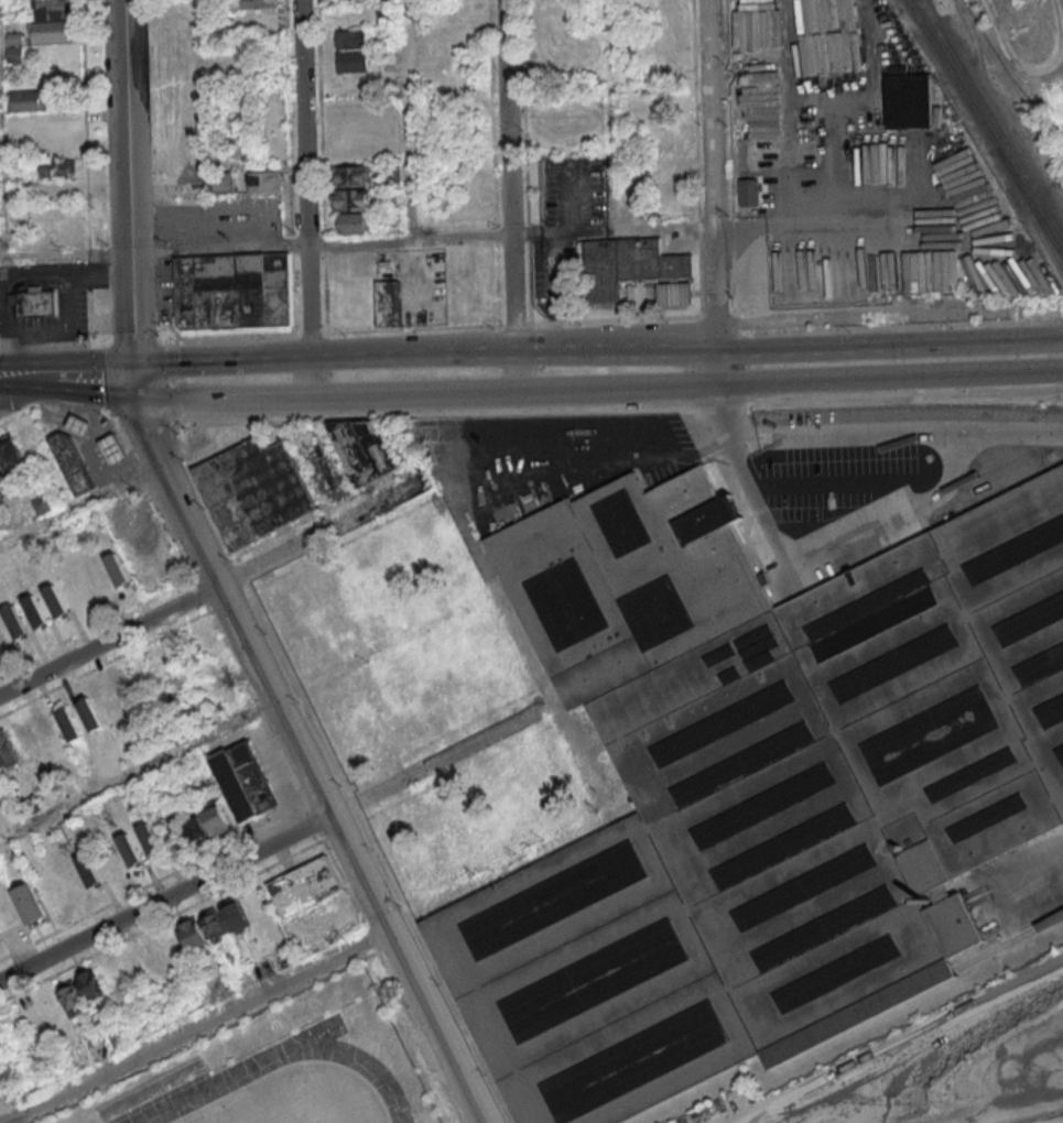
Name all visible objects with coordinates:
building: (257, 3)
building: (50, 31)
building: (349, 41)
building: (12, 54)
building: (350, 63)
road: (606, 94)
road: (202, 95)
building: (908, 98)
building: (25, 100)
railway: (991, 117)
road: (401, 120)
railway: (984, 127)
building: (56, 167)
building: (351, 175)
road: (507, 175)
road: (303, 178)
road: (126, 179)
building: (264, 181)
building: (224, 182)
road: (707, 194)
building: (350, 199)
building: (674, 207)
railway: (1029, 211)
road: (779, 221)
building: (354, 222)
road: (0, 226)
road: (408, 239)
road: (217, 247)
road: (63, 253)
building: (626, 266)
building: (237, 290)
building: (674, 295)
building: (35, 302)
building: (365, 302)
road: (887, 341)
road: (598, 350)
road: (377, 357)
road: (257, 358)
road: (187, 359)
traffic signals: (131, 360)
road: (76, 370)
road: (512, 372)
road: (310, 377)
road: (134, 379)
road: (11, 380)
road: (11, 386)
road: (753, 386)
road: (80, 389)
road: (377, 396)
traffic signals: (139, 399)
road: (224, 401)
road: (530, 412)
building: (82, 424)
road: (897, 440)
building: (116, 448)
building: (362, 449)
building: (12, 455)
building: (74, 462)
building: (253, 491)
building: (41, 504)
road: (80, 505)
road: (803, 567)
building: (117, 569)
road: (205, 586)
building: (55, 600)
building: (34, 611)
building: (18, 621)
building: (129, 689)
building: (170, 693)
building: (89, 712)
building: (68, 723)
building: (24, 737)
building: (7, 751)
road: (304, 763)
road: (137, 770)
building: (243, 779)
building: (759, 788)
building: (216, 819)
building: (196, 830)
building: (149, 839)
road: (261, 848)
building: (129, 849)
building: (88, 870)
building: (304, 885)
road: (1038, 887)
building: (30, 904)
building: (235, 914)
building: (214, 924)
building: (0, 933)
building: (193, 933)
railway: (1008, 942)
building: (80, 992)
road: (204, 1029)
track: (311, 1036)
building: (1, 1040)
building: (101, 1050)
track: (356, 1060)
park: (293, 1068)
track: (210, 1088)
road: (833, 1104)

